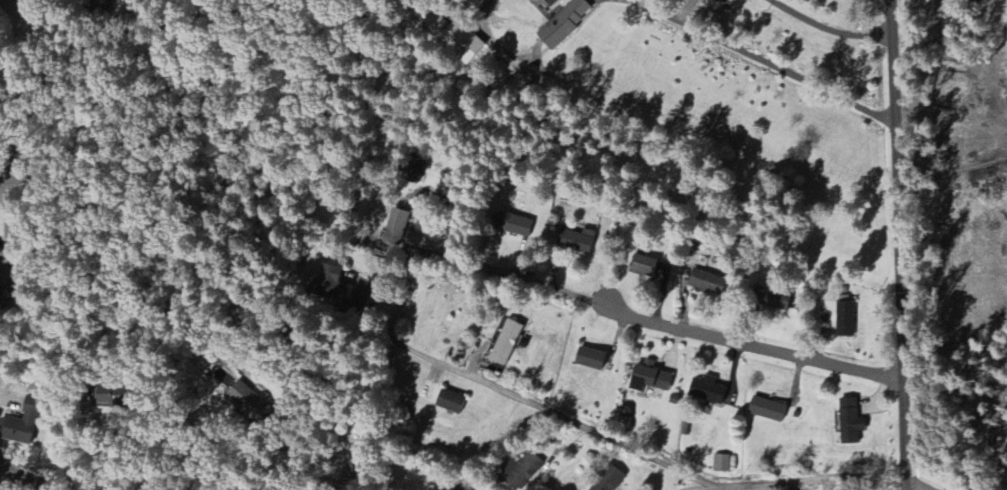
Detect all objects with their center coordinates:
building: (101, 8)
road: (682, 9)
building: (432, 23)
building: (563, 24)
road: (828, 26)
building: (462, 43)
road: (757, 58)
building: (414, 171)
road: (2, 184)
building: (512, 226)
building: (575, 242)
road: (897, 244)
building: (0, 256)
building: (642, 266)
building: (328, 281)
building: (706, 283)
building: (771, 300)
building: (844, 320)
building: (504, 344)
road: (955, 344)
road: (723, 353)
building: (588, 360)
building: (649, 379)
building: (707, 391)
building: (111, 398)
building: (449, 402)
building: (250, 403)
road: (322, 409)
building: (766, 410)
road: (543, 416)
building: (849, 422)
building: (23, 424)
road: (107, 457)
building: (721, 464)
building: (520, 472)
road: (20, 477)
building: (609, 480)
building: (462, 487)
road: (879, 487)

